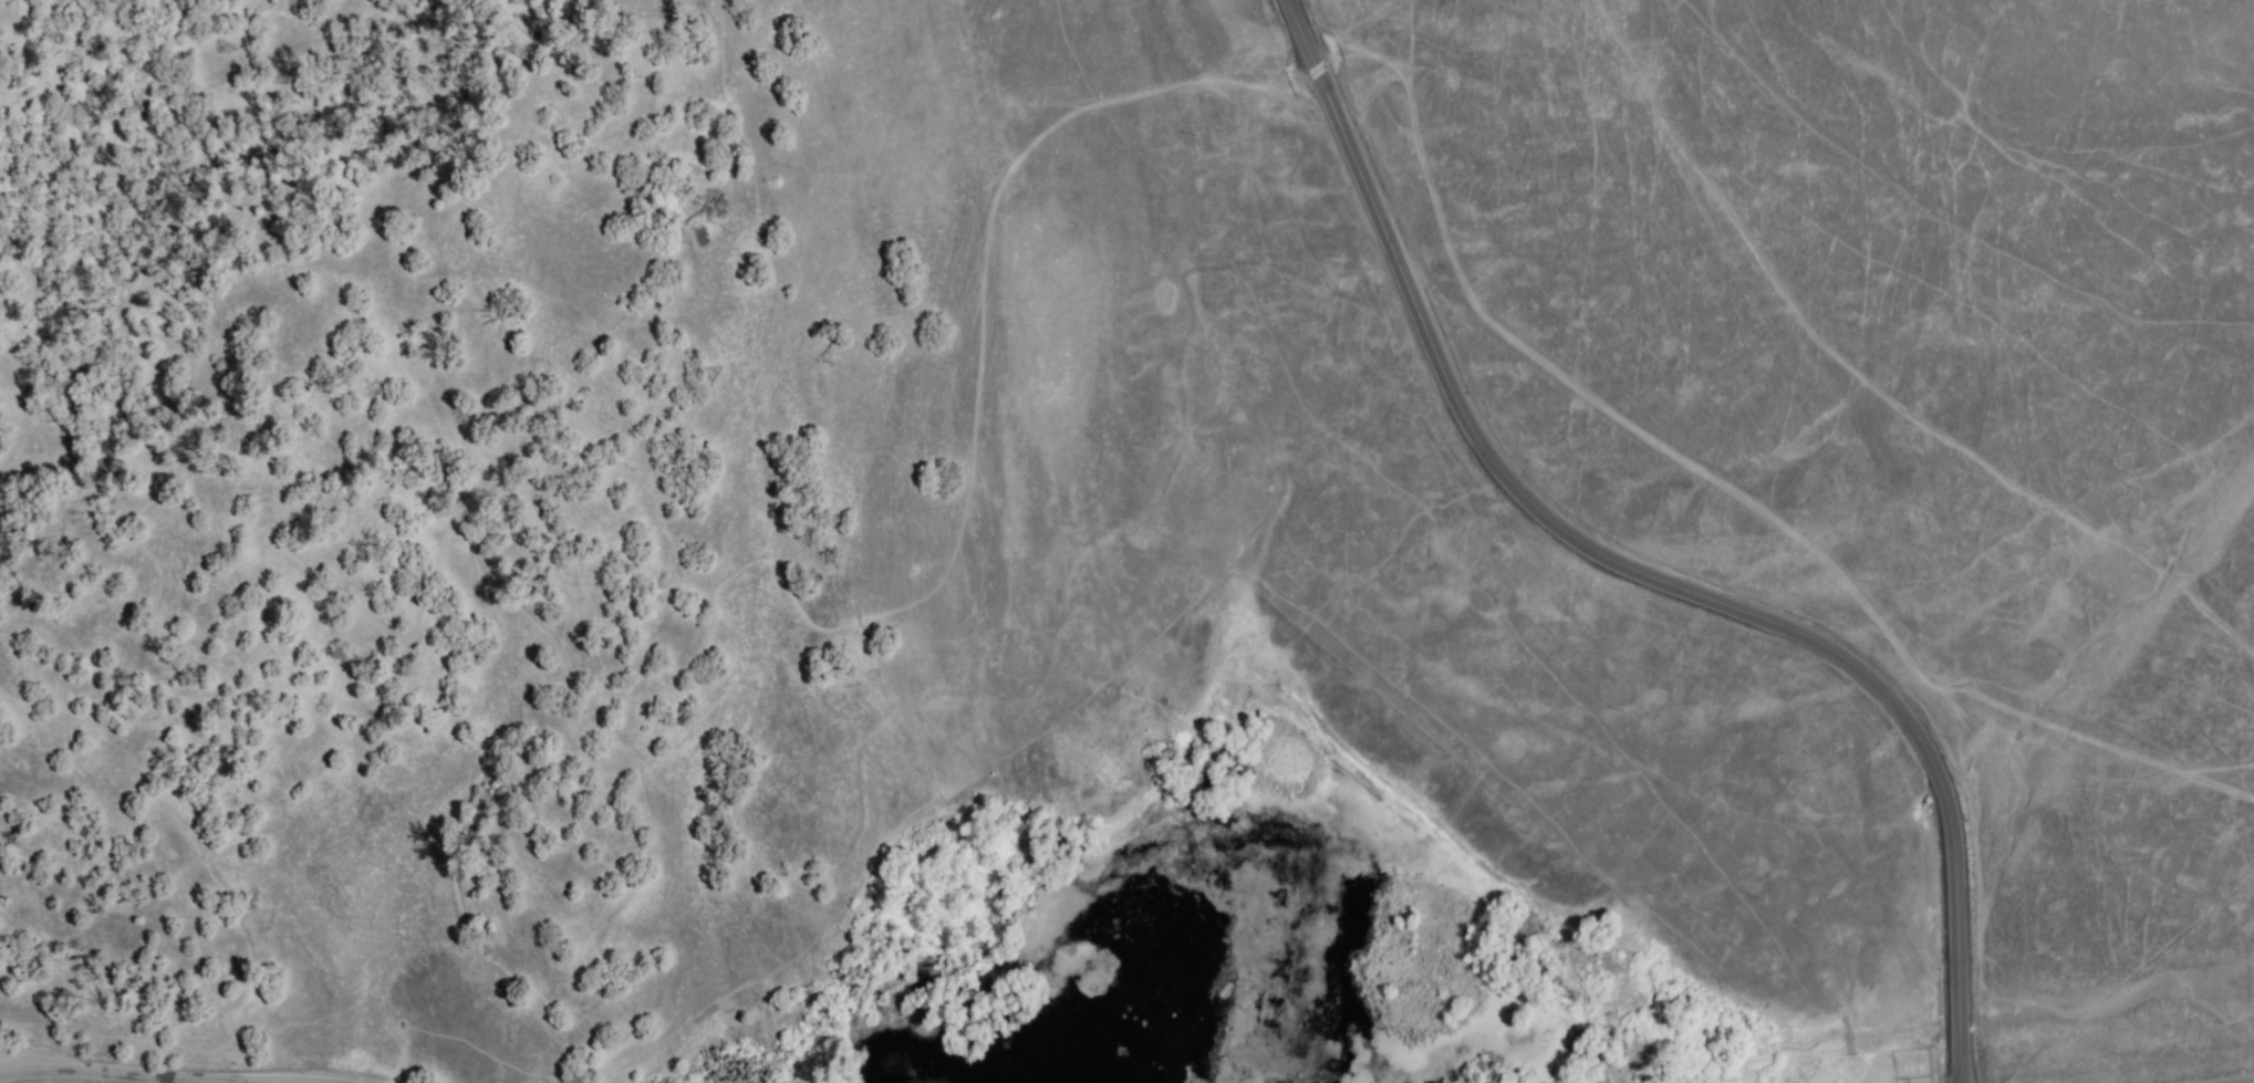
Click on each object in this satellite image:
road: (1303, 35)
airport runway: (1679, 117)
airport: (1798, 291)
road: (1715, 483)
road: (1672, 586)
road: (546, 638)
road: (107, 1073)

